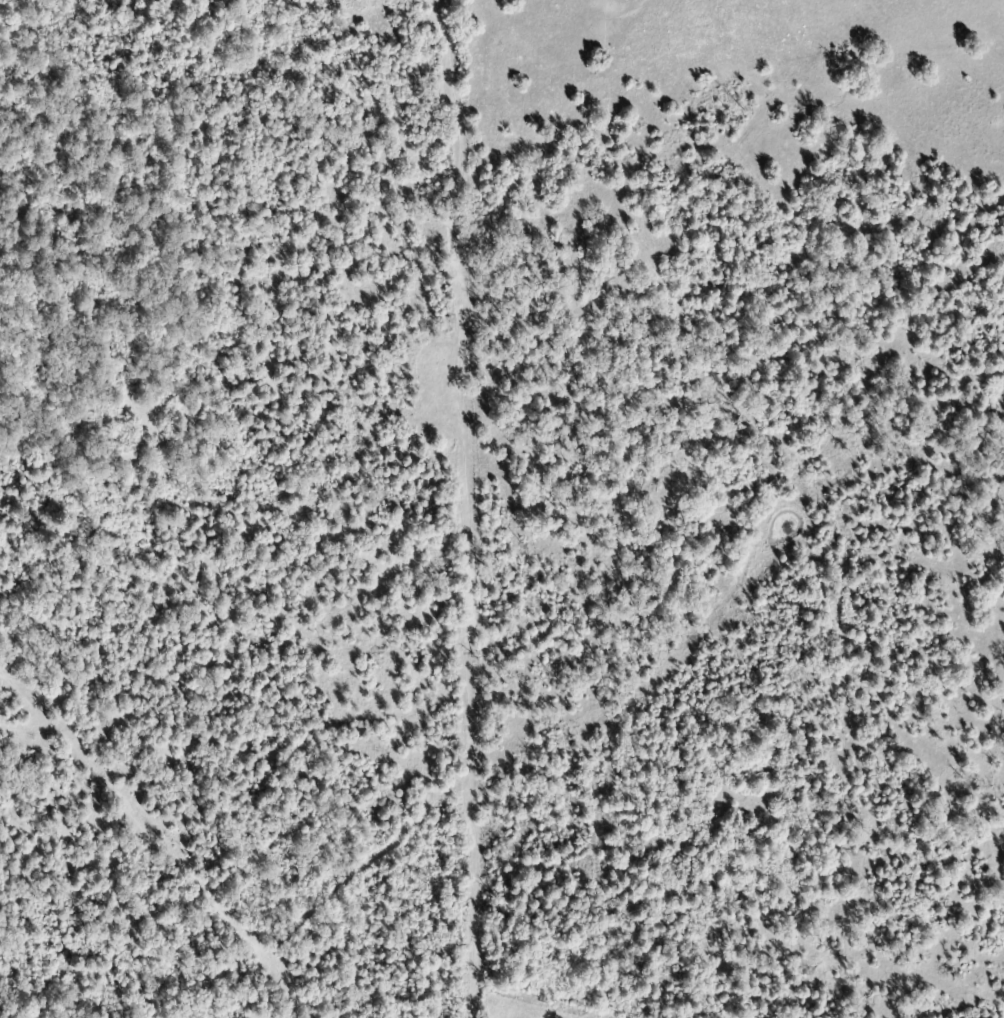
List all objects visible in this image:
road: (895, 733)

